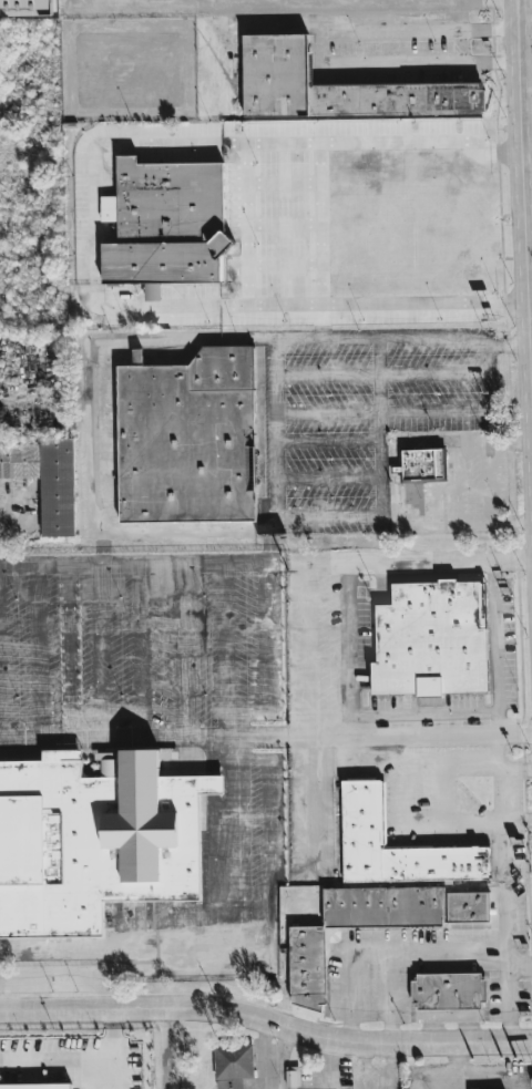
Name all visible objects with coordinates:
road: (514, 4)
road: (518, 4)
building: (24, 8)
road: (524, 9)
road: (242, 28)
road: (320, 52)
building: (336, 92)
road: (525, 173)
road: (285, 181)
road: (93, 220)
building: (167, 223)
road: (248, 223)
road: (286, 223)
road: (324, 223)
road: (287, 264)
building: (152, 292)
road: (510, 337)
road: (382, 339)
road: (383, 373)
road: (378, 378)
road: (420, 414)
building: (185, 440)
road: (278, 452)
building: (19, 461)
building: (420, 472)
building: (57, 486)
road: (18, 522)
road: (405, 522)
road: (405, 562)
road: (139, 565)
building: (430, 639)
road: (319, 650)
road: (346, 650)
road: (498, 711)
road: (499, 725)
road: (37, 739)
road: (110, 739)
road: (468, 768)
building: (360, 814)
road: (427, 826)
building: (92, 840)
road: (277, 875)
road: (503, 887)
building: (400, 907)
road: (399, 949)
building: (304, 968)
building: (447, 992)
road: (266, 1017)
road: (164, 1049)
road: (459, 1060)
road: (80, 1062)
building: (232, 1066)
building: (291, 1076)
road: (480, 1080)
building: (35, 1086)

